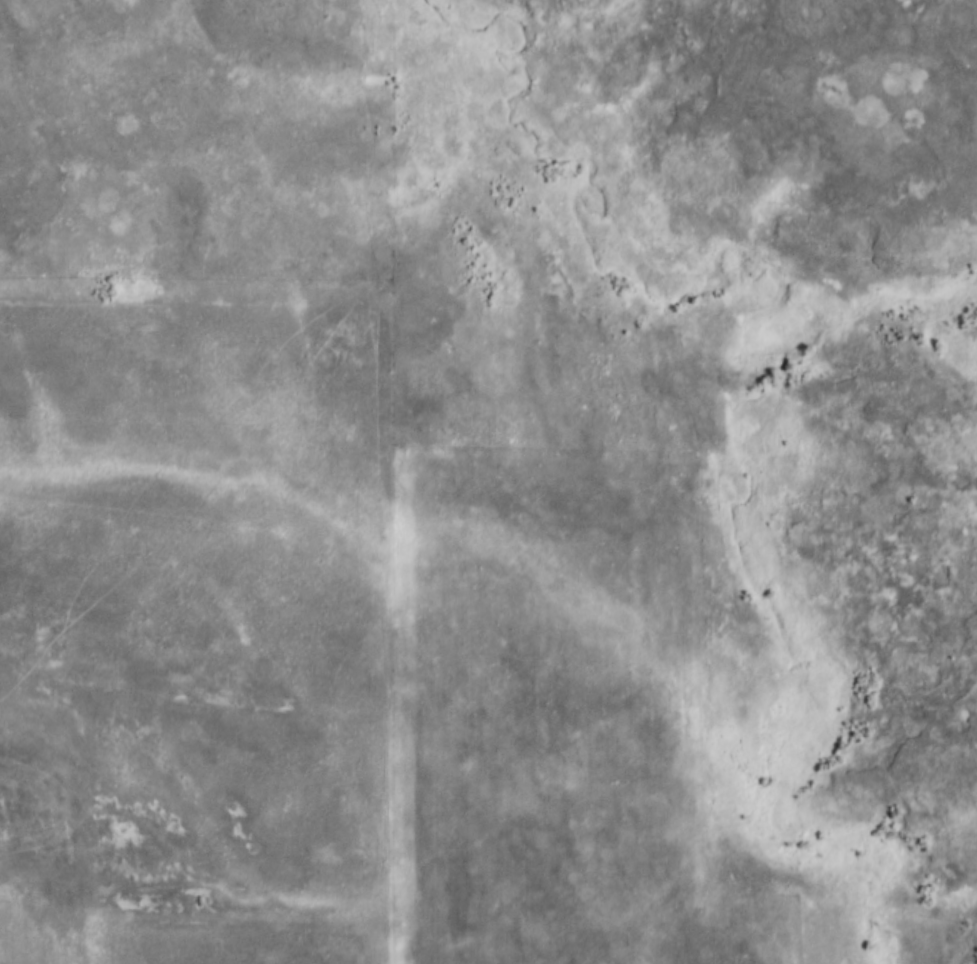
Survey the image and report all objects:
road: (37, 699)

